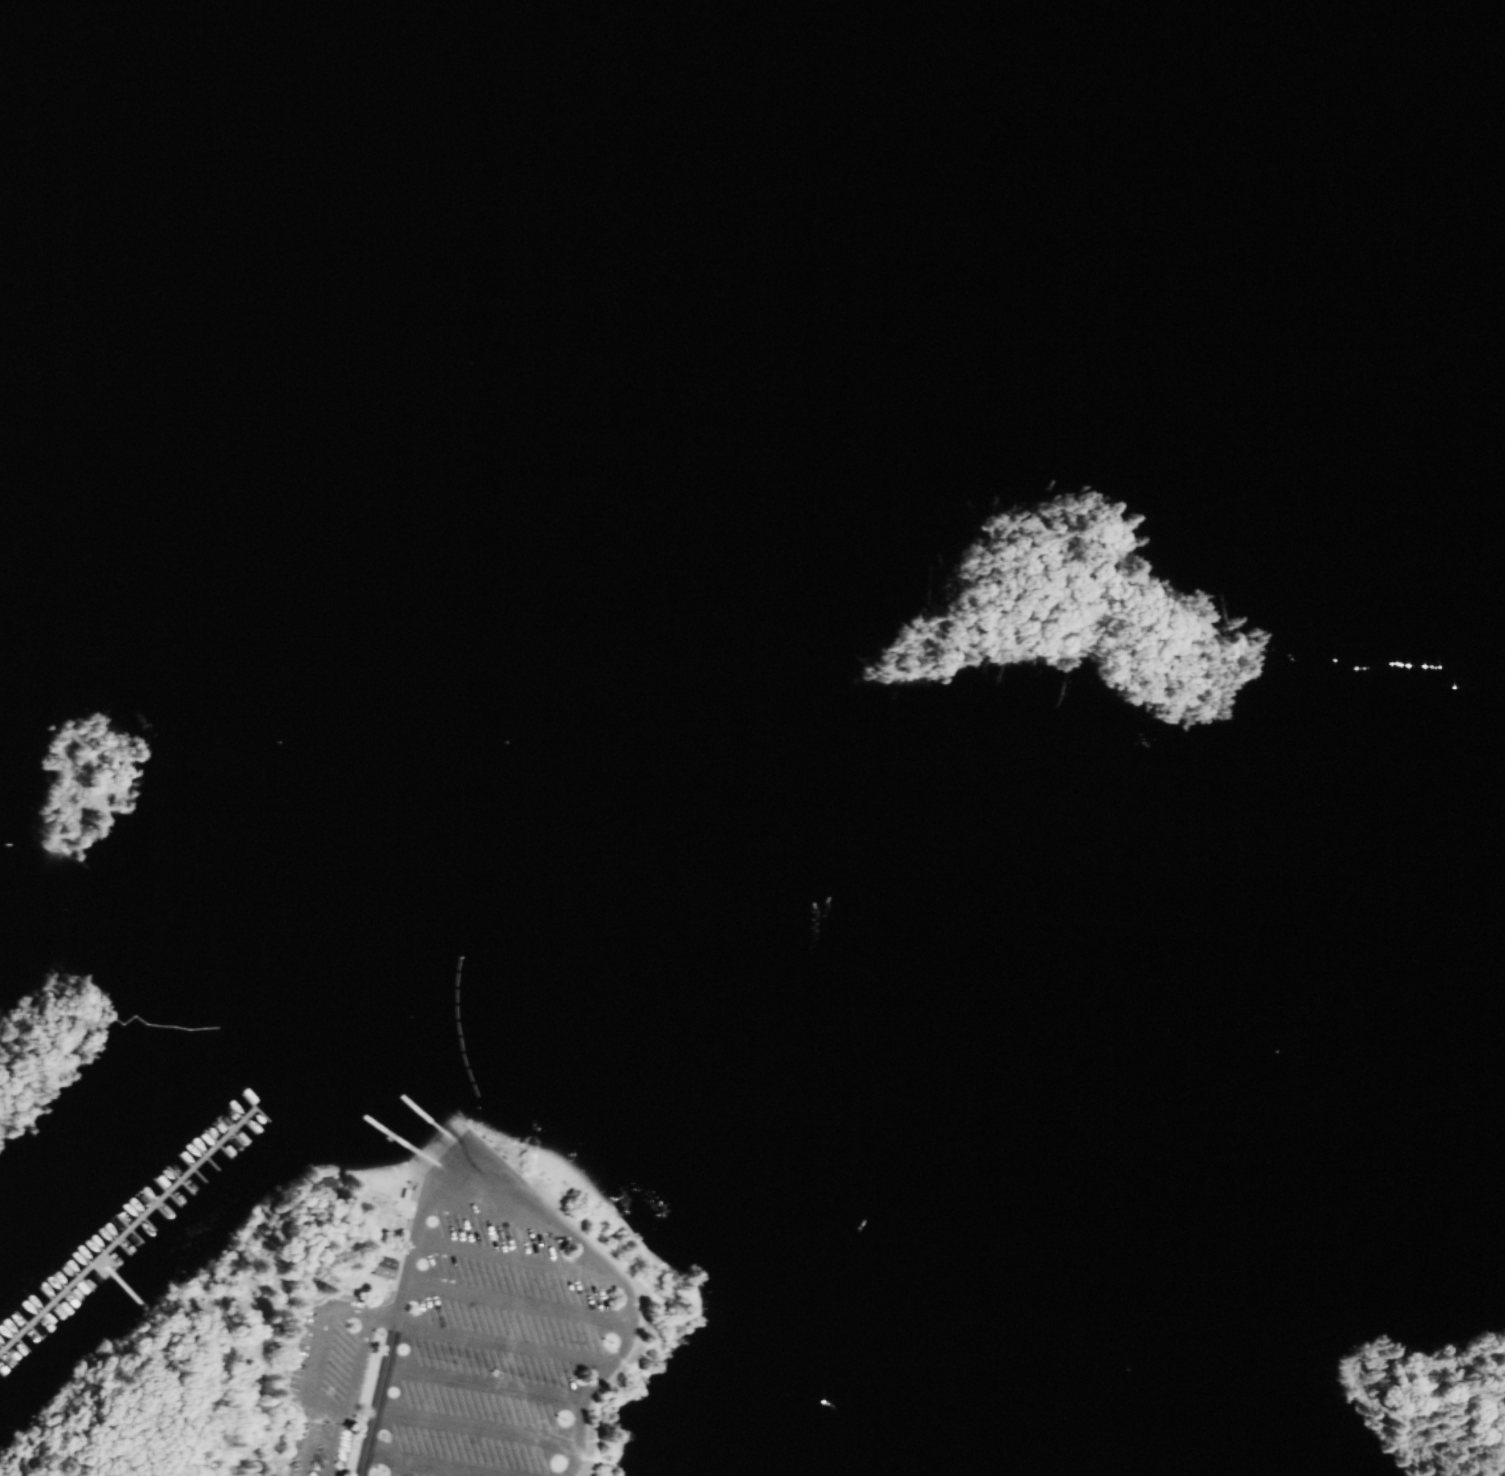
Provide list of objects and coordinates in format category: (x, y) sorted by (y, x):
pier: (230, 1094)
pier: (243, 1106)
pier: (218, 1107)
pier: (232, 1119)
pier: (207, 1120)
pier: (196, 1132)
pier: (220, 1132)
pier: (184, 1145)
pier: (209, 1145)
road: (438, 1155)
pier: (196, 1157)
pier: (172, 1158)
pier: (185, 1170)
pier: (160, 1172)
pier: (174, 1184)
pier: (149, 1185)
road: (512, 1189)
pier: (162, 1197)
pier: (137, 1198)
pier: (126, 1211)
pier: (151, 1211)
pier: (139, 1223)
pier: (114, 1225)
pier: (118, 1233)
pier: (127, 1236)
pier: (103, 1238)
pier: (115, 1248)
pier: (91, 1251)
building: (382, 1262)
pier: (79, 1264)
road: (540, 1265)
pier: (68, 1277)
pier: (81, 1288)
pier: (56, 1289)
pier: (122, 1291)
road: (224, 1292)
road: (390, 1295)
pier: (70, 1302)
pier: (45, 1303)
road: (545, 1308)
pier: (58, 1315)
pier: (33, 1316)
road: (312, 1318)
pier: (46, 1328)
pier: (21, 1329)
parking lot: (497, 1331)
road: (390, 1336)
pier: (34, 1341)
pier: (9, 1342)
road: (519, 1349)
pier: (23, 1355)
pier: (2, 1359)
parking lot: (332, 1361)
pier: (11, 1368)
pier: (3, 1383)
road: (507, 1390)
road: (311, 1392)
road: (485, 1432)
road: (383, 1460)
road: (400, 1469)
road: (443, 1469)

